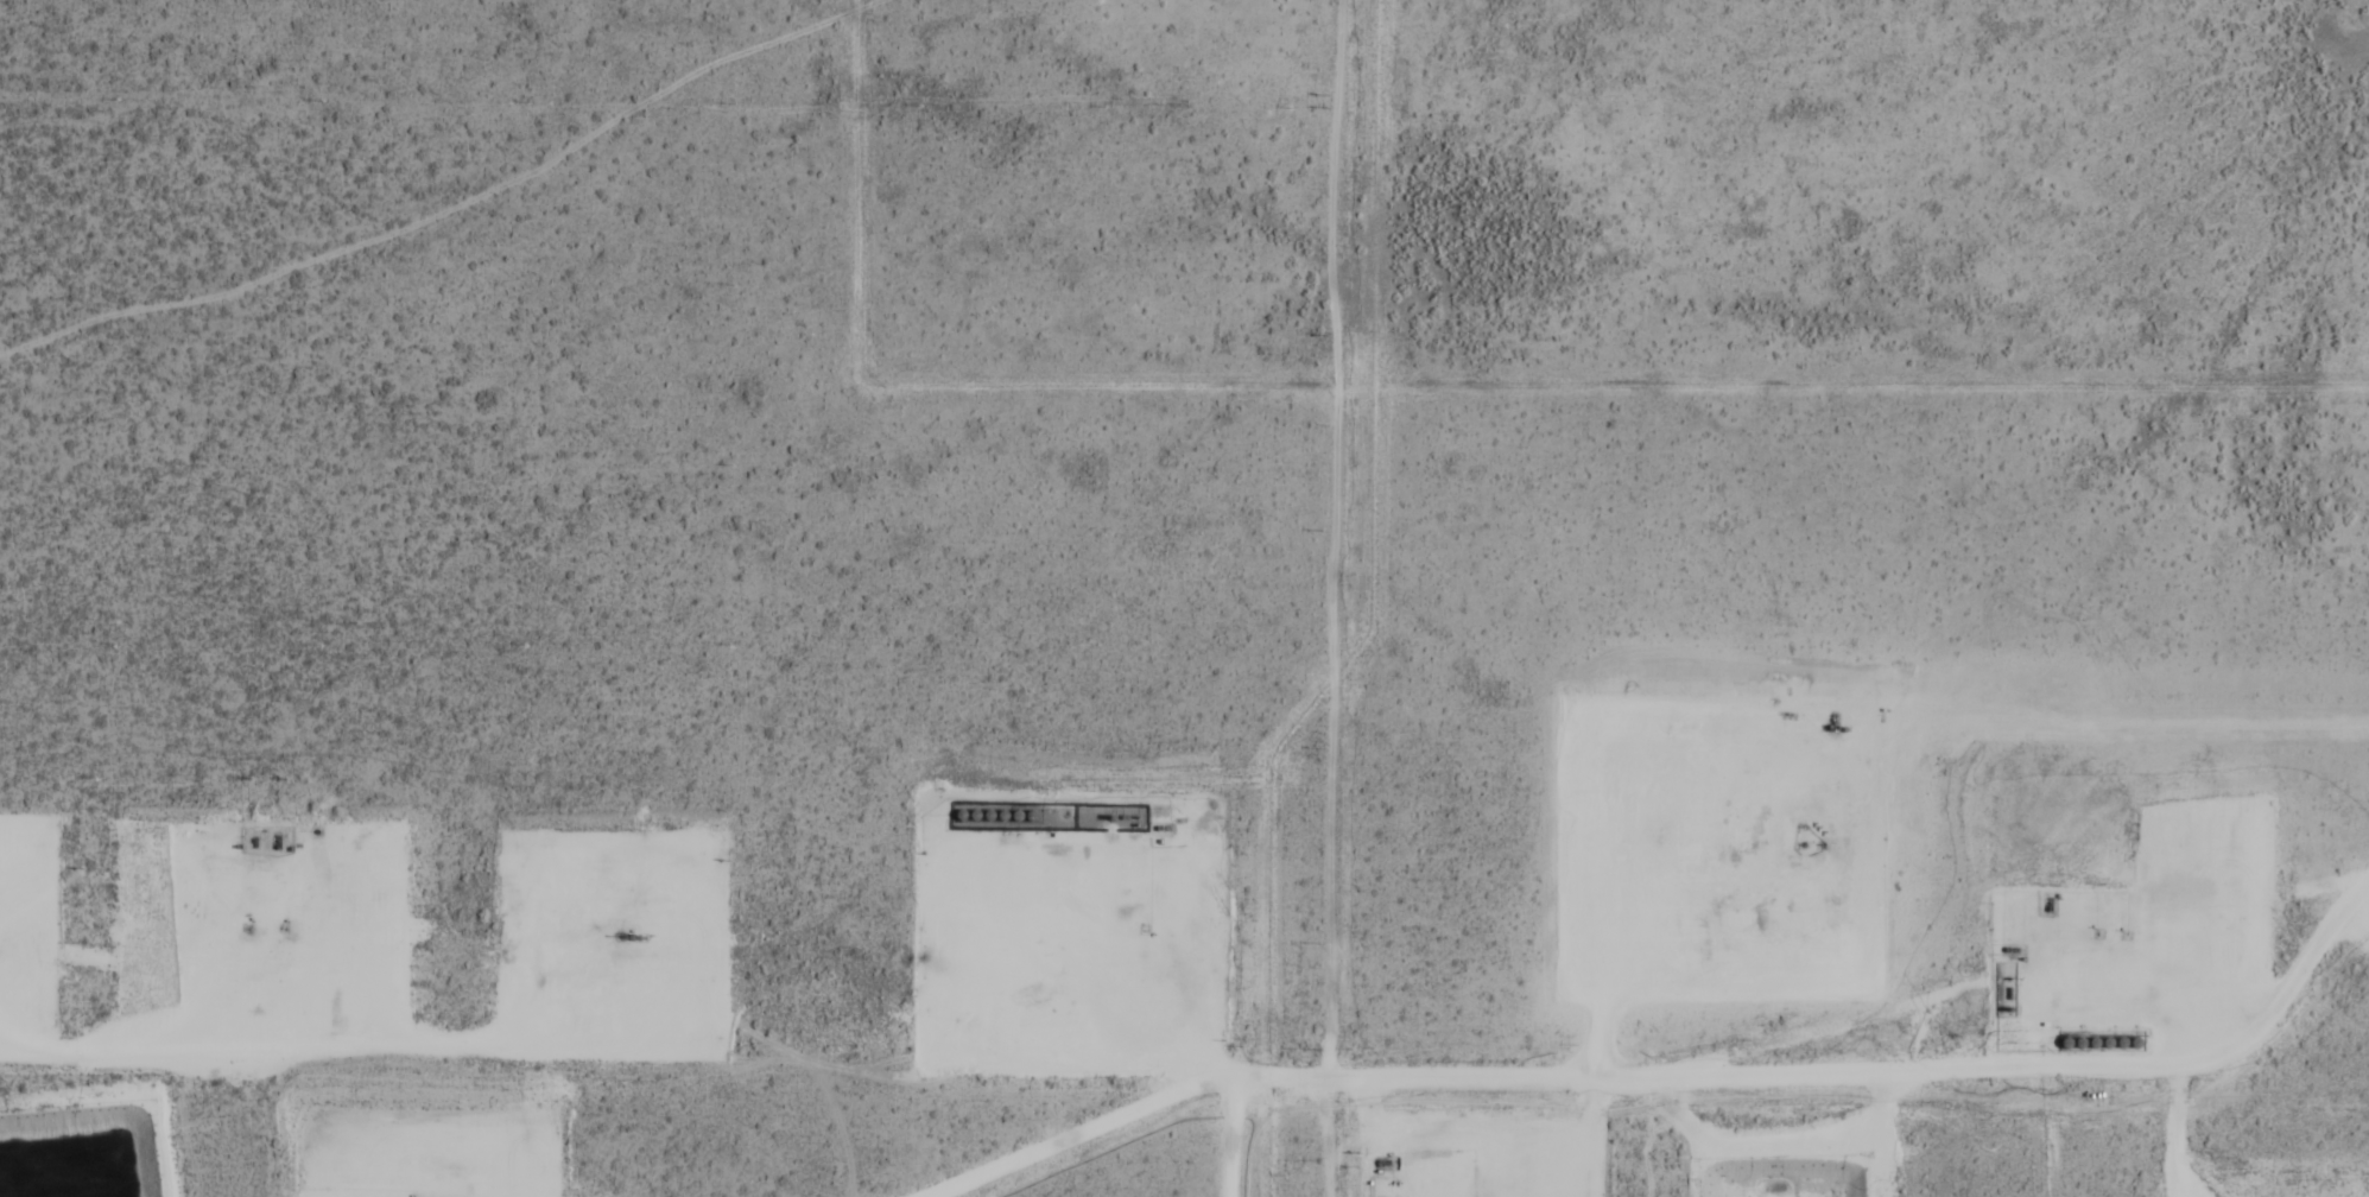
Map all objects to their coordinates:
road: (1613, 802)
road: (21, 897)
road: (2361, 924)
road: (597, 936)
road: (232, 948)
road: (1082, 949)
road: (2143, 997)
road: (348, 1027)
road: (1671, 1059)
road: (2187, 1126)
road: (1609, 1128)
road: (1217, 1130)
road: (484, 1164)

